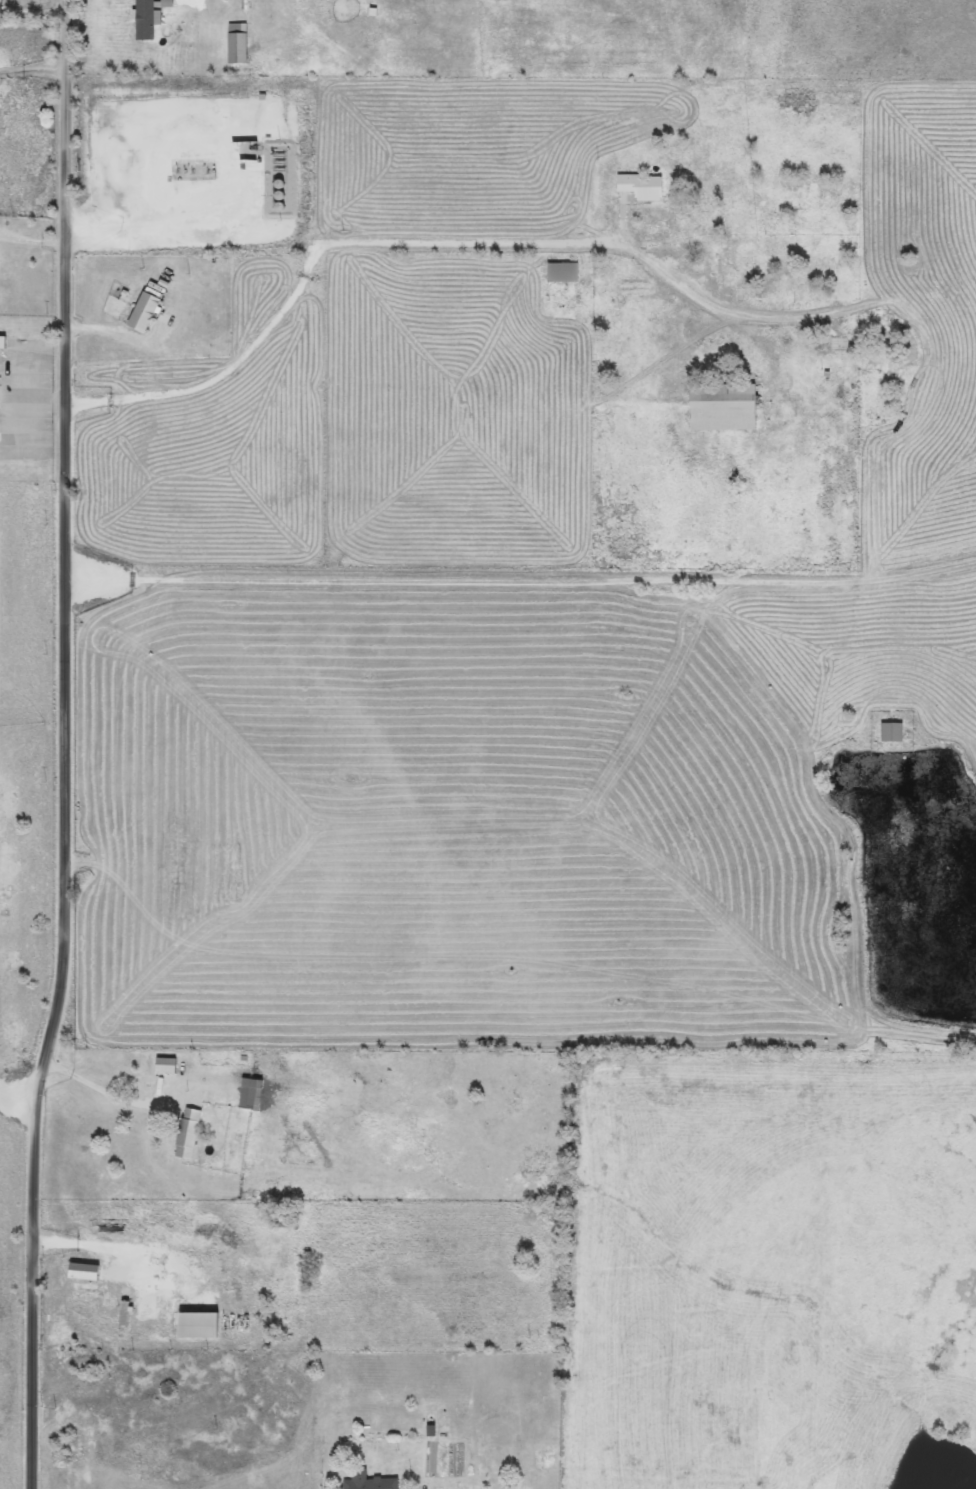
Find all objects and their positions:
road: (29, 14)
building: (149, 17)
building: (237, 43)
road: (31, 69)
building: (642, 185)
road: (396, 239)
road: (31, 242)
building: (563, 271)
building: (145, 311)
road: (119, 335)
building: (2, 342)
building: (724, 406)
road: (520, 582)
building: (892, 731)
road: (66, 745)
building: (166, 1065)
road: (104, 1088)
building: (250, 1094)
road: (21, 1099)
building: (188, 1133)
road: (125, 1249)
building: (84, 1272)
building: (124, 1314)
building: (369, 1482)

